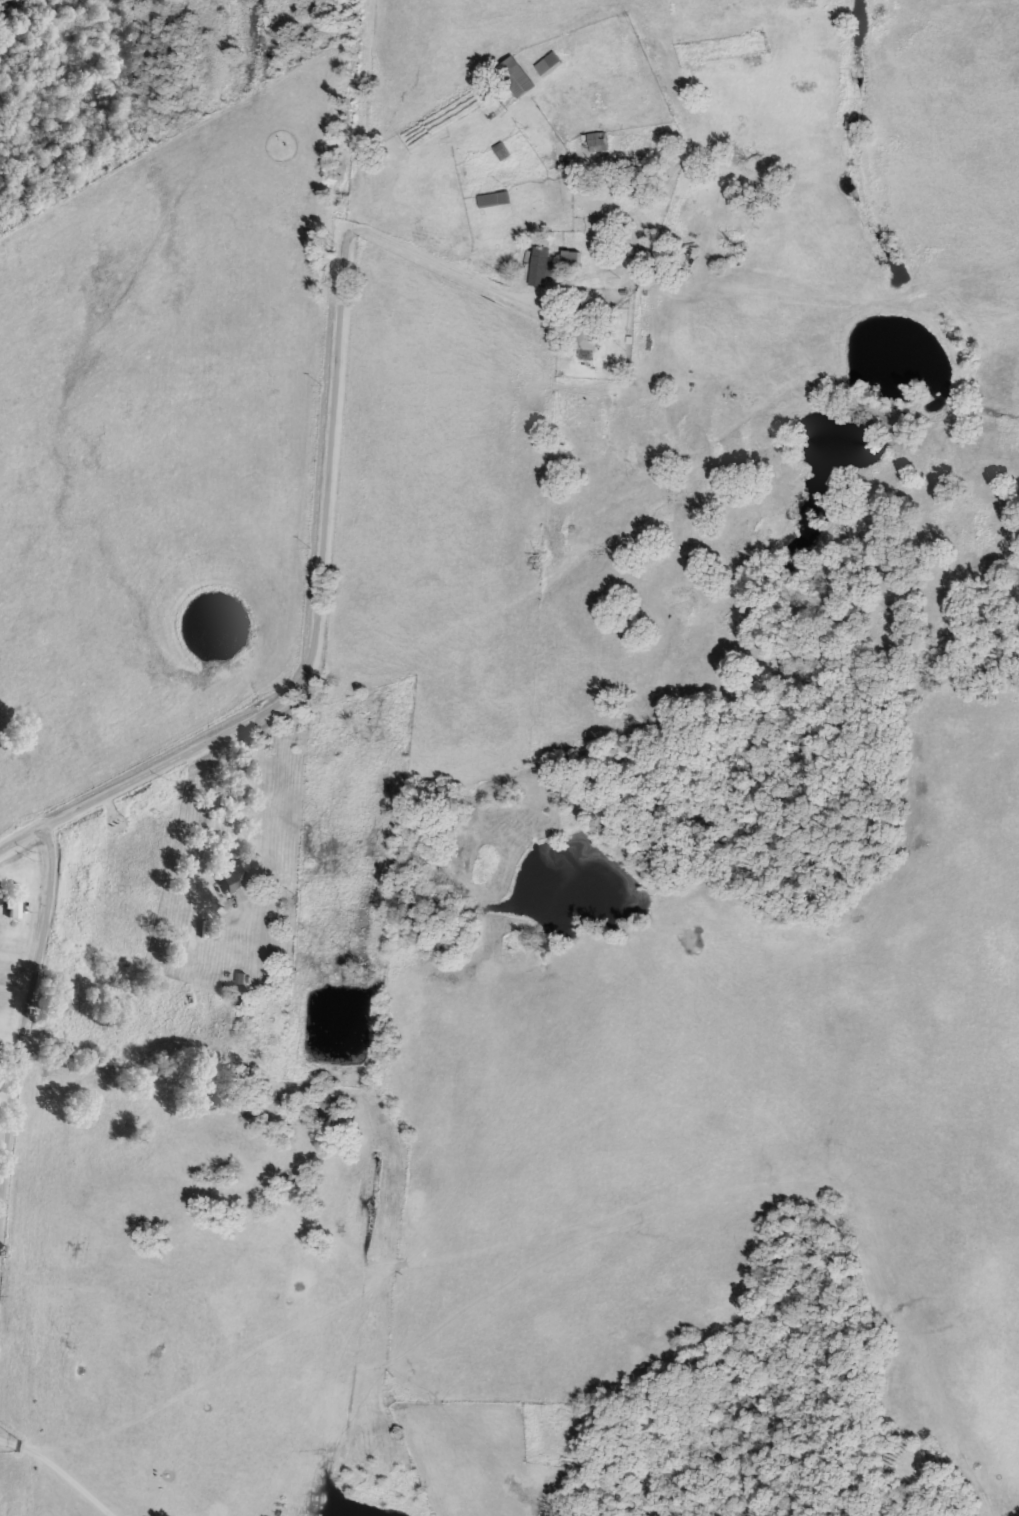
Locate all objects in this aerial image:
building: (547, 63)
building: (593, 141)
building: (500, 150)
building: (493, 198)
building: (569, 257)
building: (538, 265)
road: (585, 273)
building: (585, 326)
road: (325, 491)
building: (350, 716)
road: (211, 834)
road: (19, 836)
building: (241, 873)
building: (12, 900)
road: (24, 1009)
road: (58, 1474)

